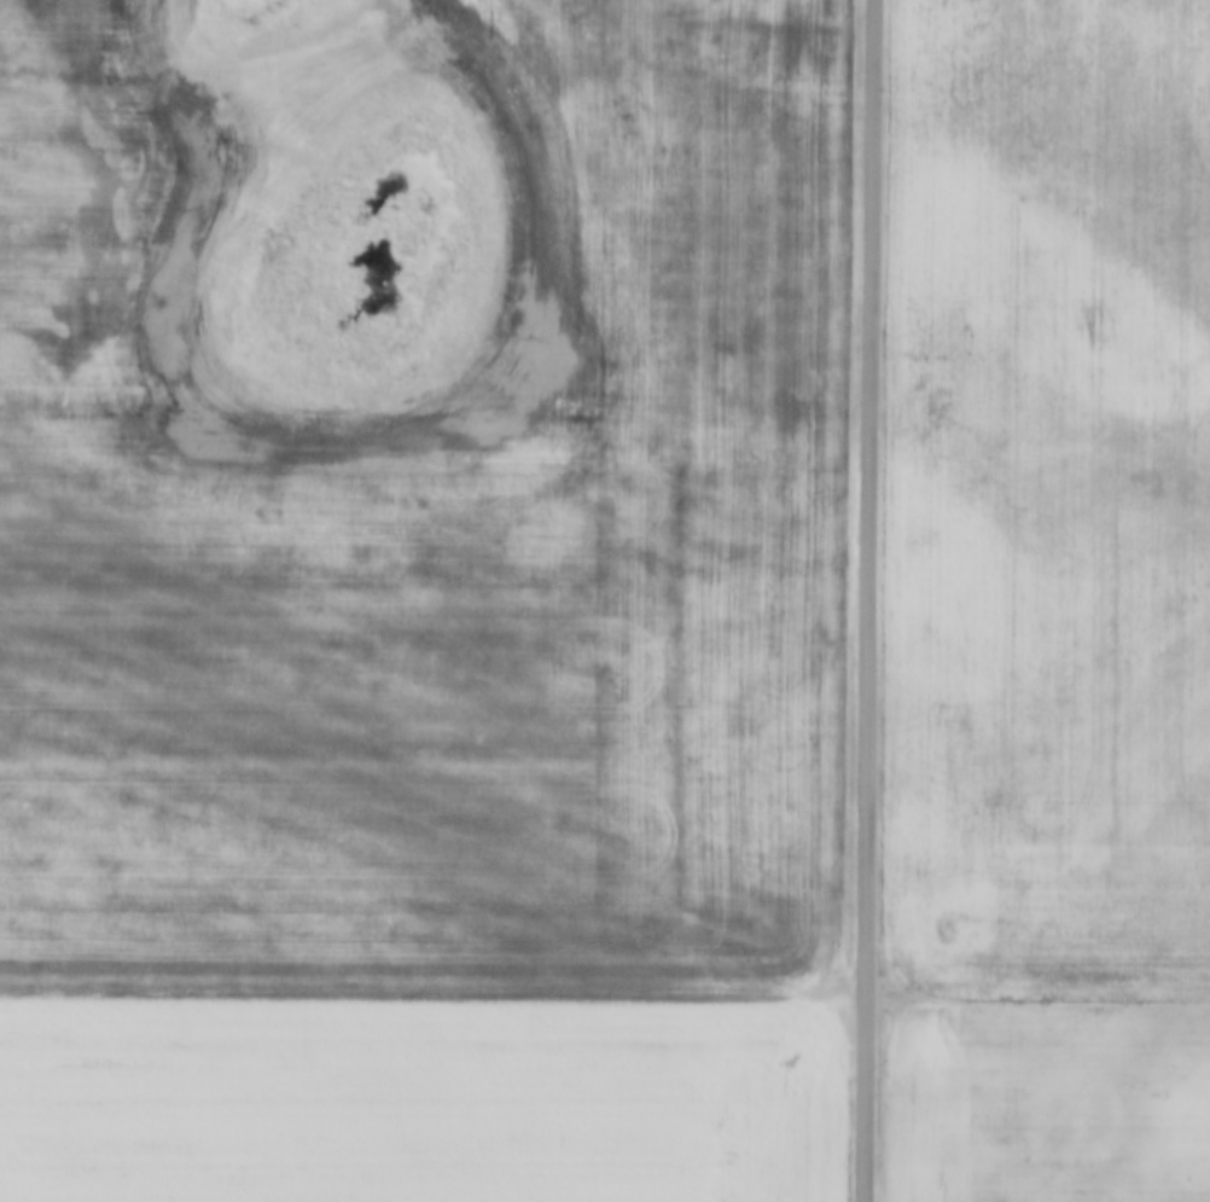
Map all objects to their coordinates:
road: (863, 600)

